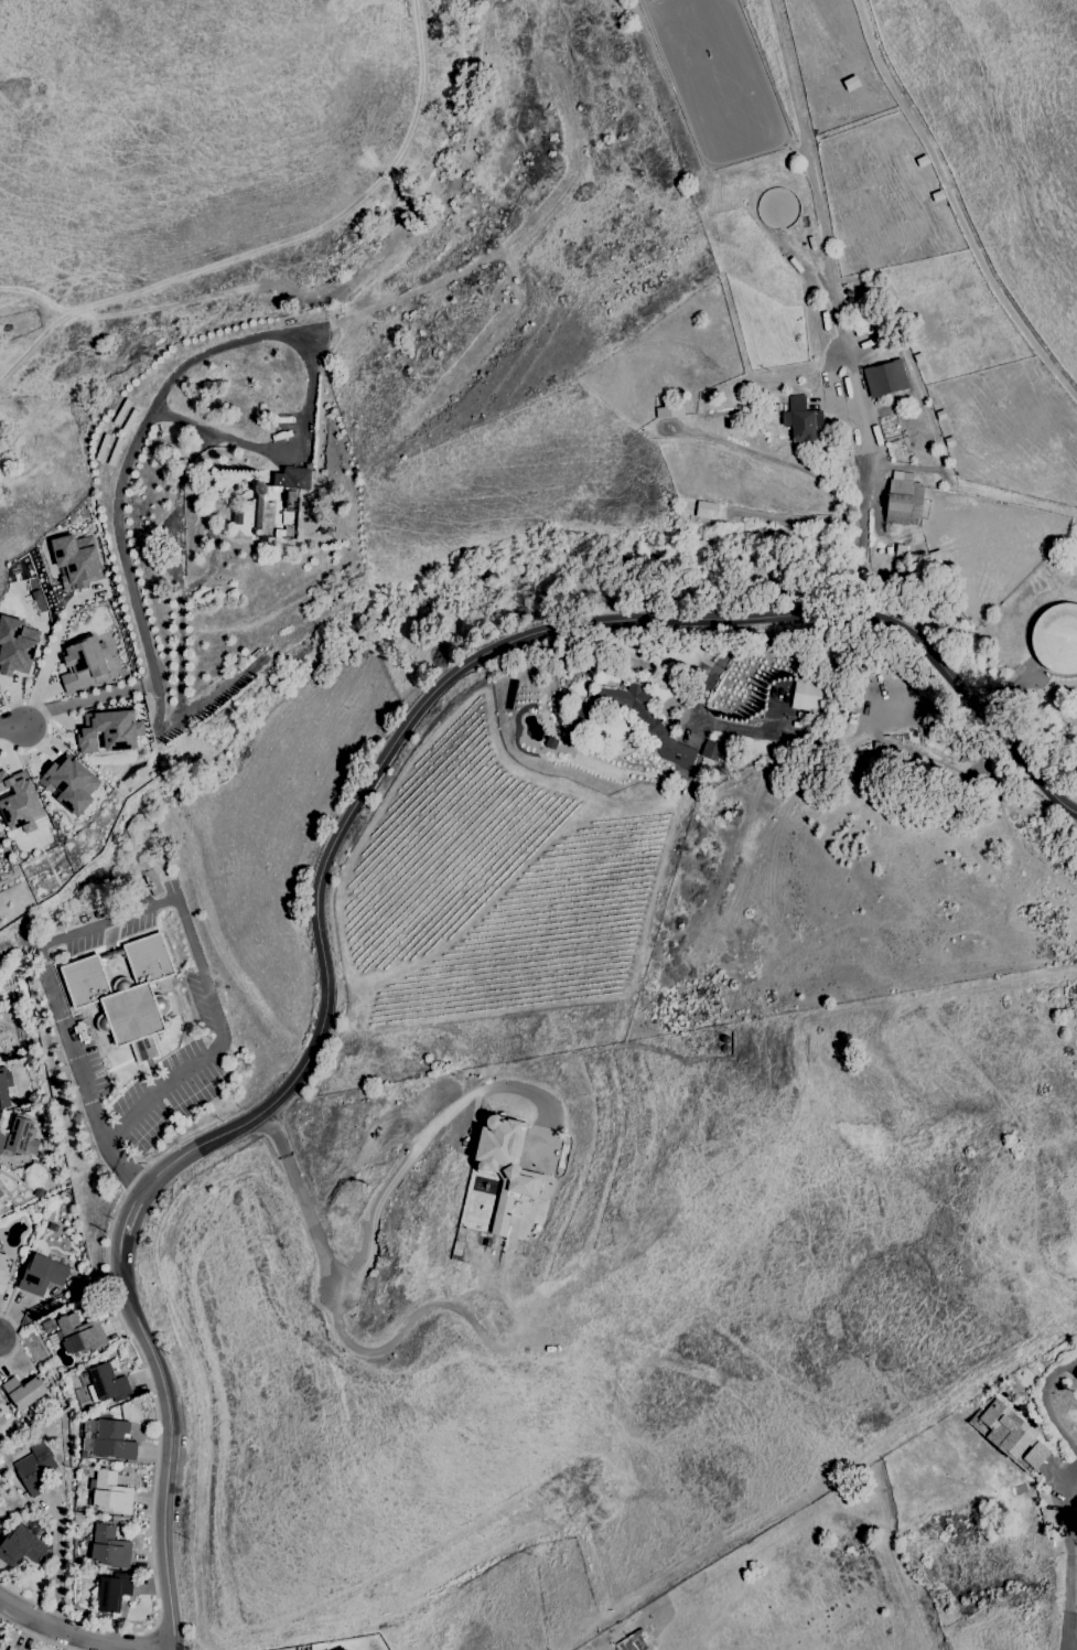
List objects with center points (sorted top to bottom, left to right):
building: (884, 378)
building: (800, 419)
road: (131, 452)
road: (267, 452)
building: (903, 499)
building: (706, 510)
building: (76, 560)
building: (1056, 639)
building: (17, 646)
road: (53, 646)
road: (485, 653)
building: (83, 665)
road: (713, 674)
building: (806, 697)
road: (88, 699)
road: (12, 726)
road: (46, 728)
building: (107, 732)
building: (710, 750)
building: (69, 785)
building: (18, 803)
road: (201, 971)
building: (125, 994)
building: (14, 1014)
road: (78, 1072)
building: (4, 1087)
building: (24, 1111)
road: (274, 1132)
building: (19, 1137)
road: (410, 1154)
building: (504, 1166)
building: (1, 1193)
building: (7, 1203)
road: (133, 1210)
road: (312, 1222)
building: (18, 1257)
building: (3, 1272)
building: (42, 1275)
building: (11, 1282)
building: (71, 1283)
building: (62, 1312)
building: (49, 1326)
building: (79, 1335)
road: (17, 1338)
building: (85, 1374)
building: (1076, 1378)
building: (107, 1384)
building: (26, 1396)
building: (2, 1408)
building: (109, 1439)
road: (170, 1439)
road: (1074, 1443)
building: (83, 1455)
building: (34, 1467)
road: (155, 1469)
building: (93, 1475)
building: (110, 1493)
building: (21, 1547)
building: (110, 1547)
road: (57, 1562)
building: (114, 1590)
road: (1073, 1597)
road: (74, 1635)
road: (36, 1636)
road: (1075, 1648)
building: (12, 1649)

